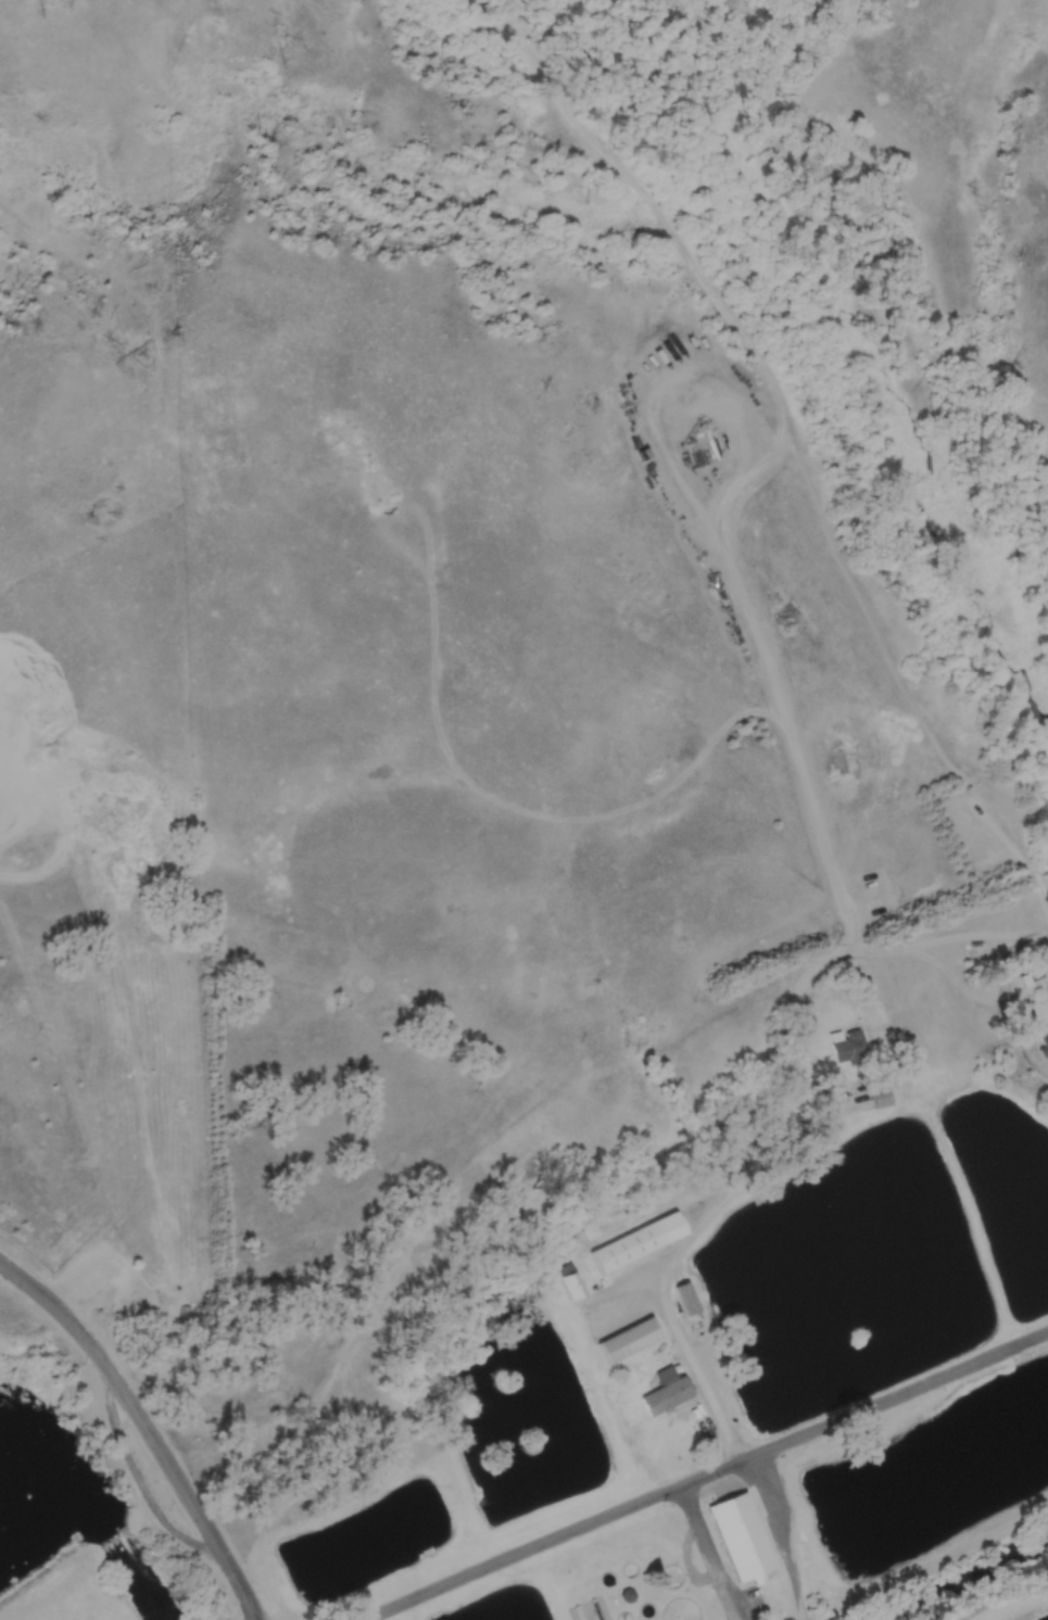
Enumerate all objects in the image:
road: (948, 938)
road: (832, 962)
building: (1041, 971)
road: (988, 998)
building: (850, 1042)
building: (1044, 1042)
building: (882, 1096)
building: (641, 1240)
building: (574, 1280)
building: (691, 1296)
building: (630, 1338)
building: (667, 1391)
road: (144, 1432)
road: (715, 1471)
building: (741, 1535)
river: (116, 1541)
road: (937, 1562)
road: (1018, 1604)

